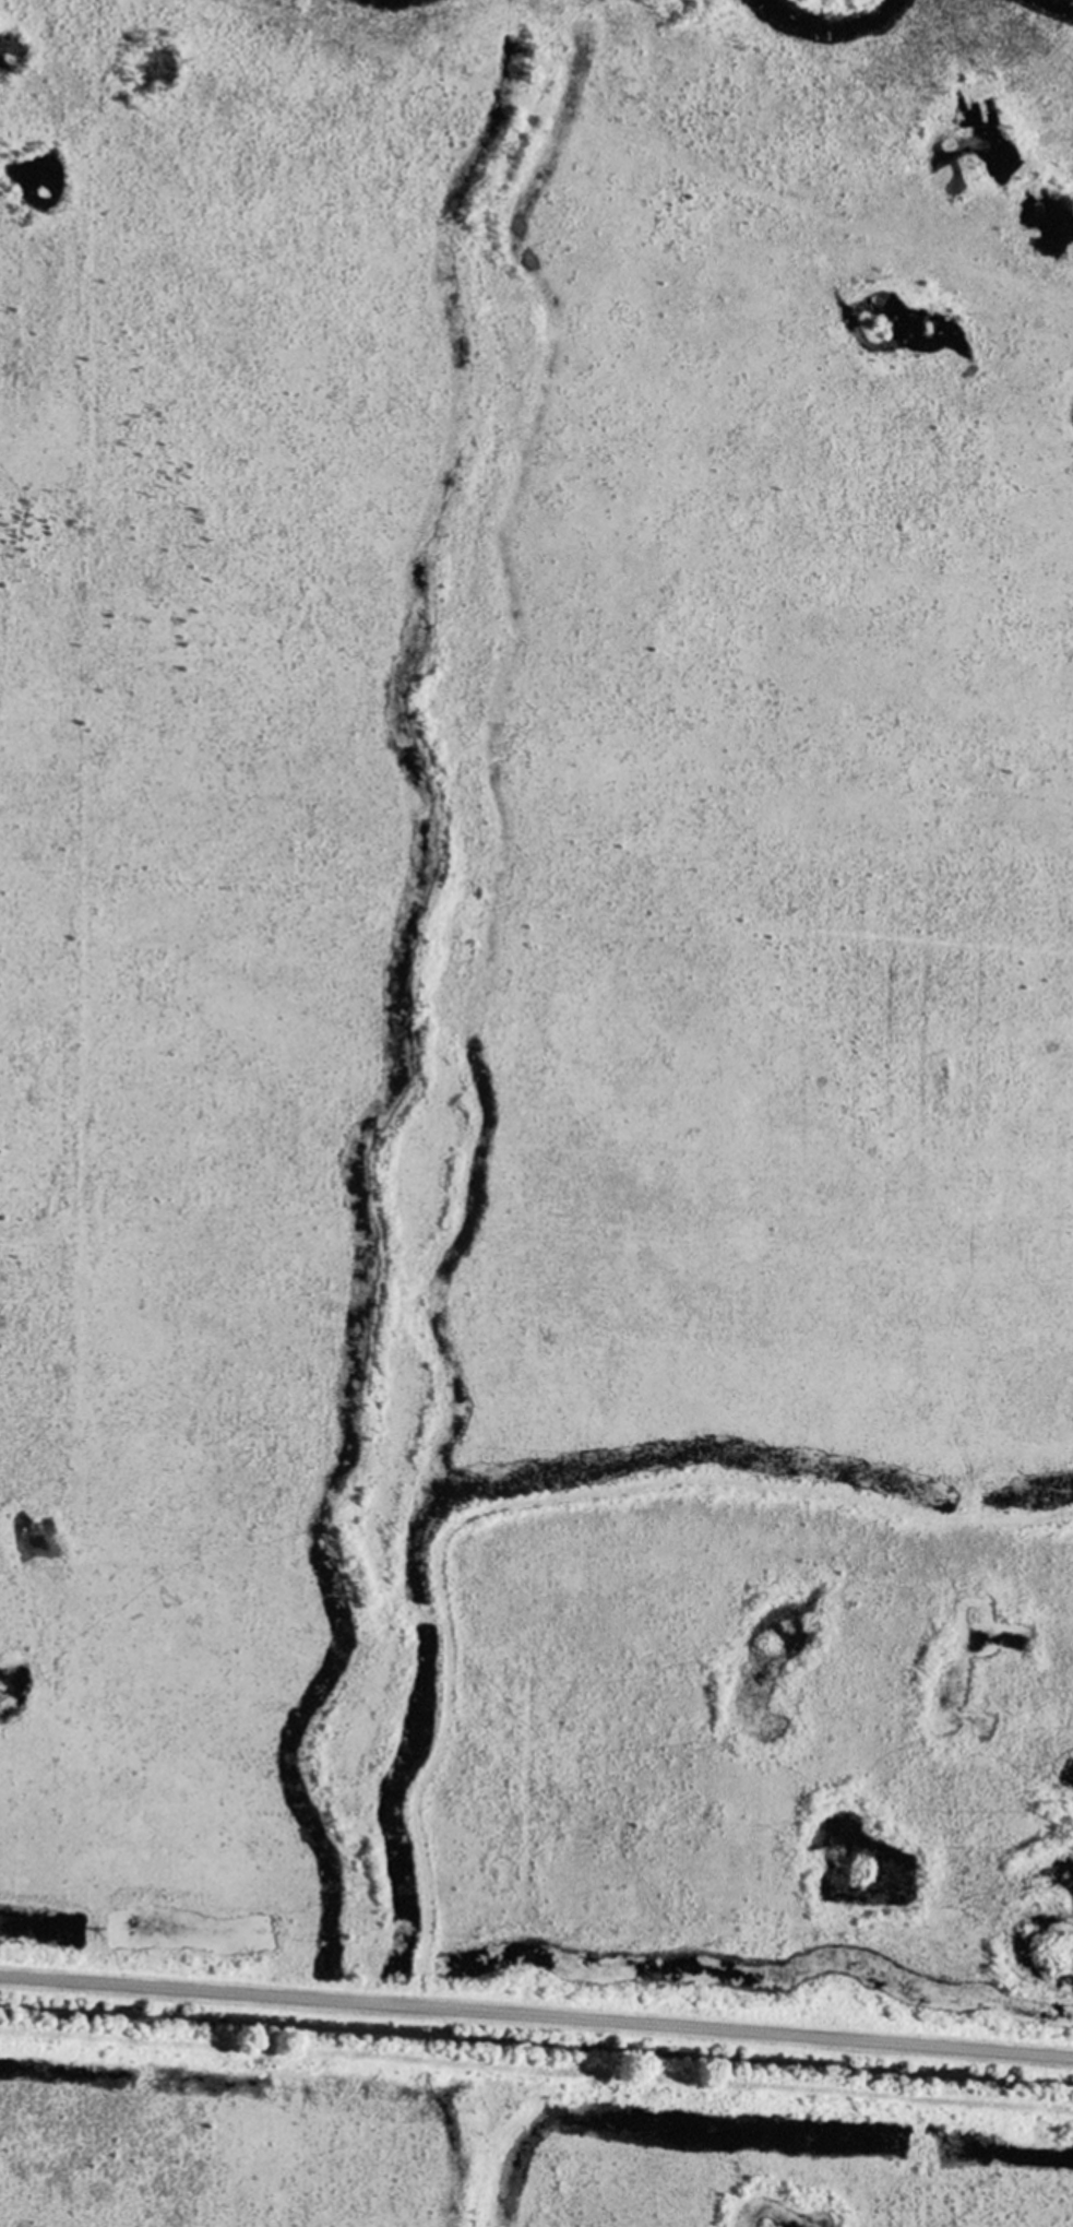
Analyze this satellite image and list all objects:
road: (536, 2021)

